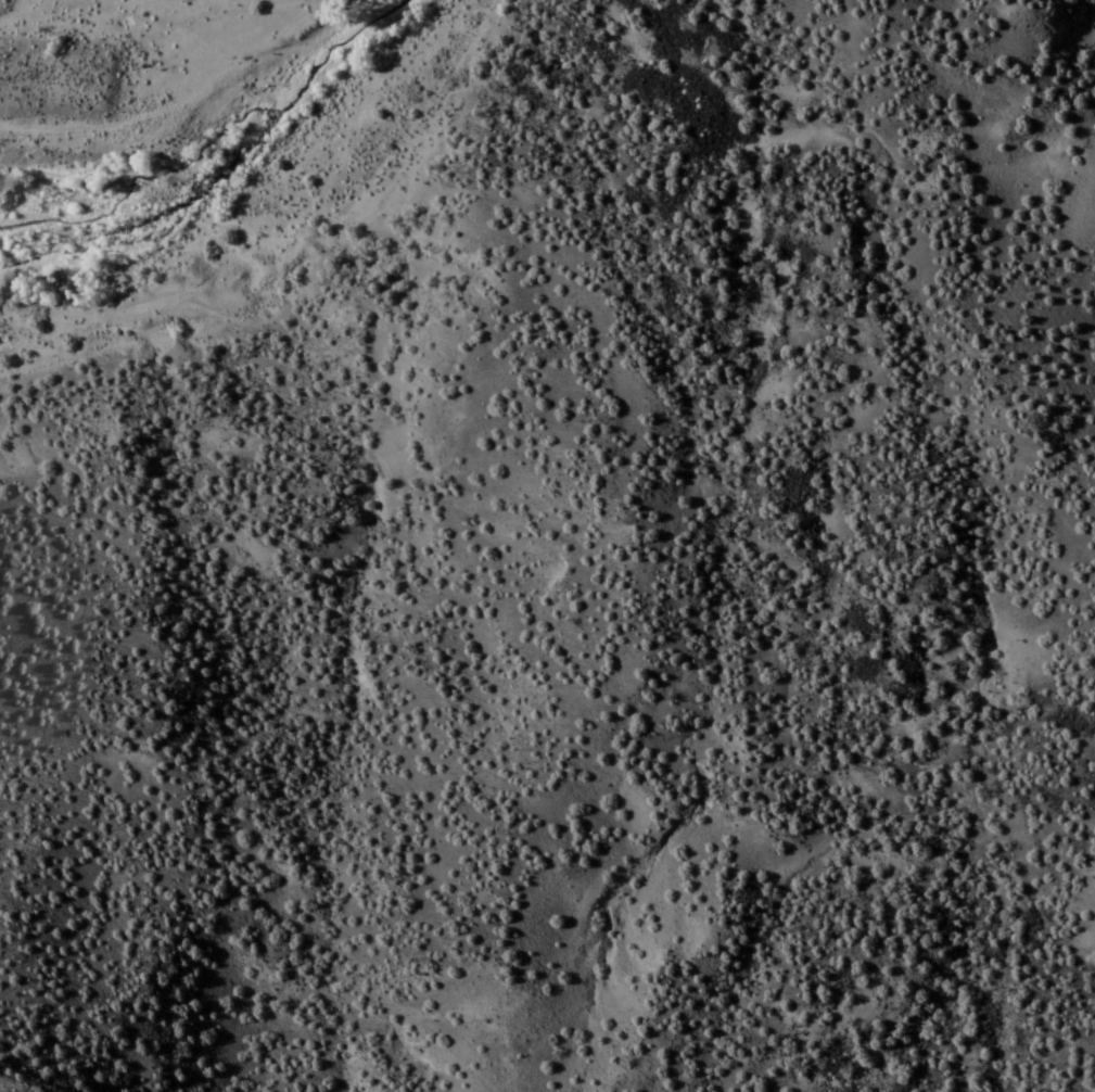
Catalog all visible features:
road: (154, 103)
river: (290, 156)
road: (307, 291)

